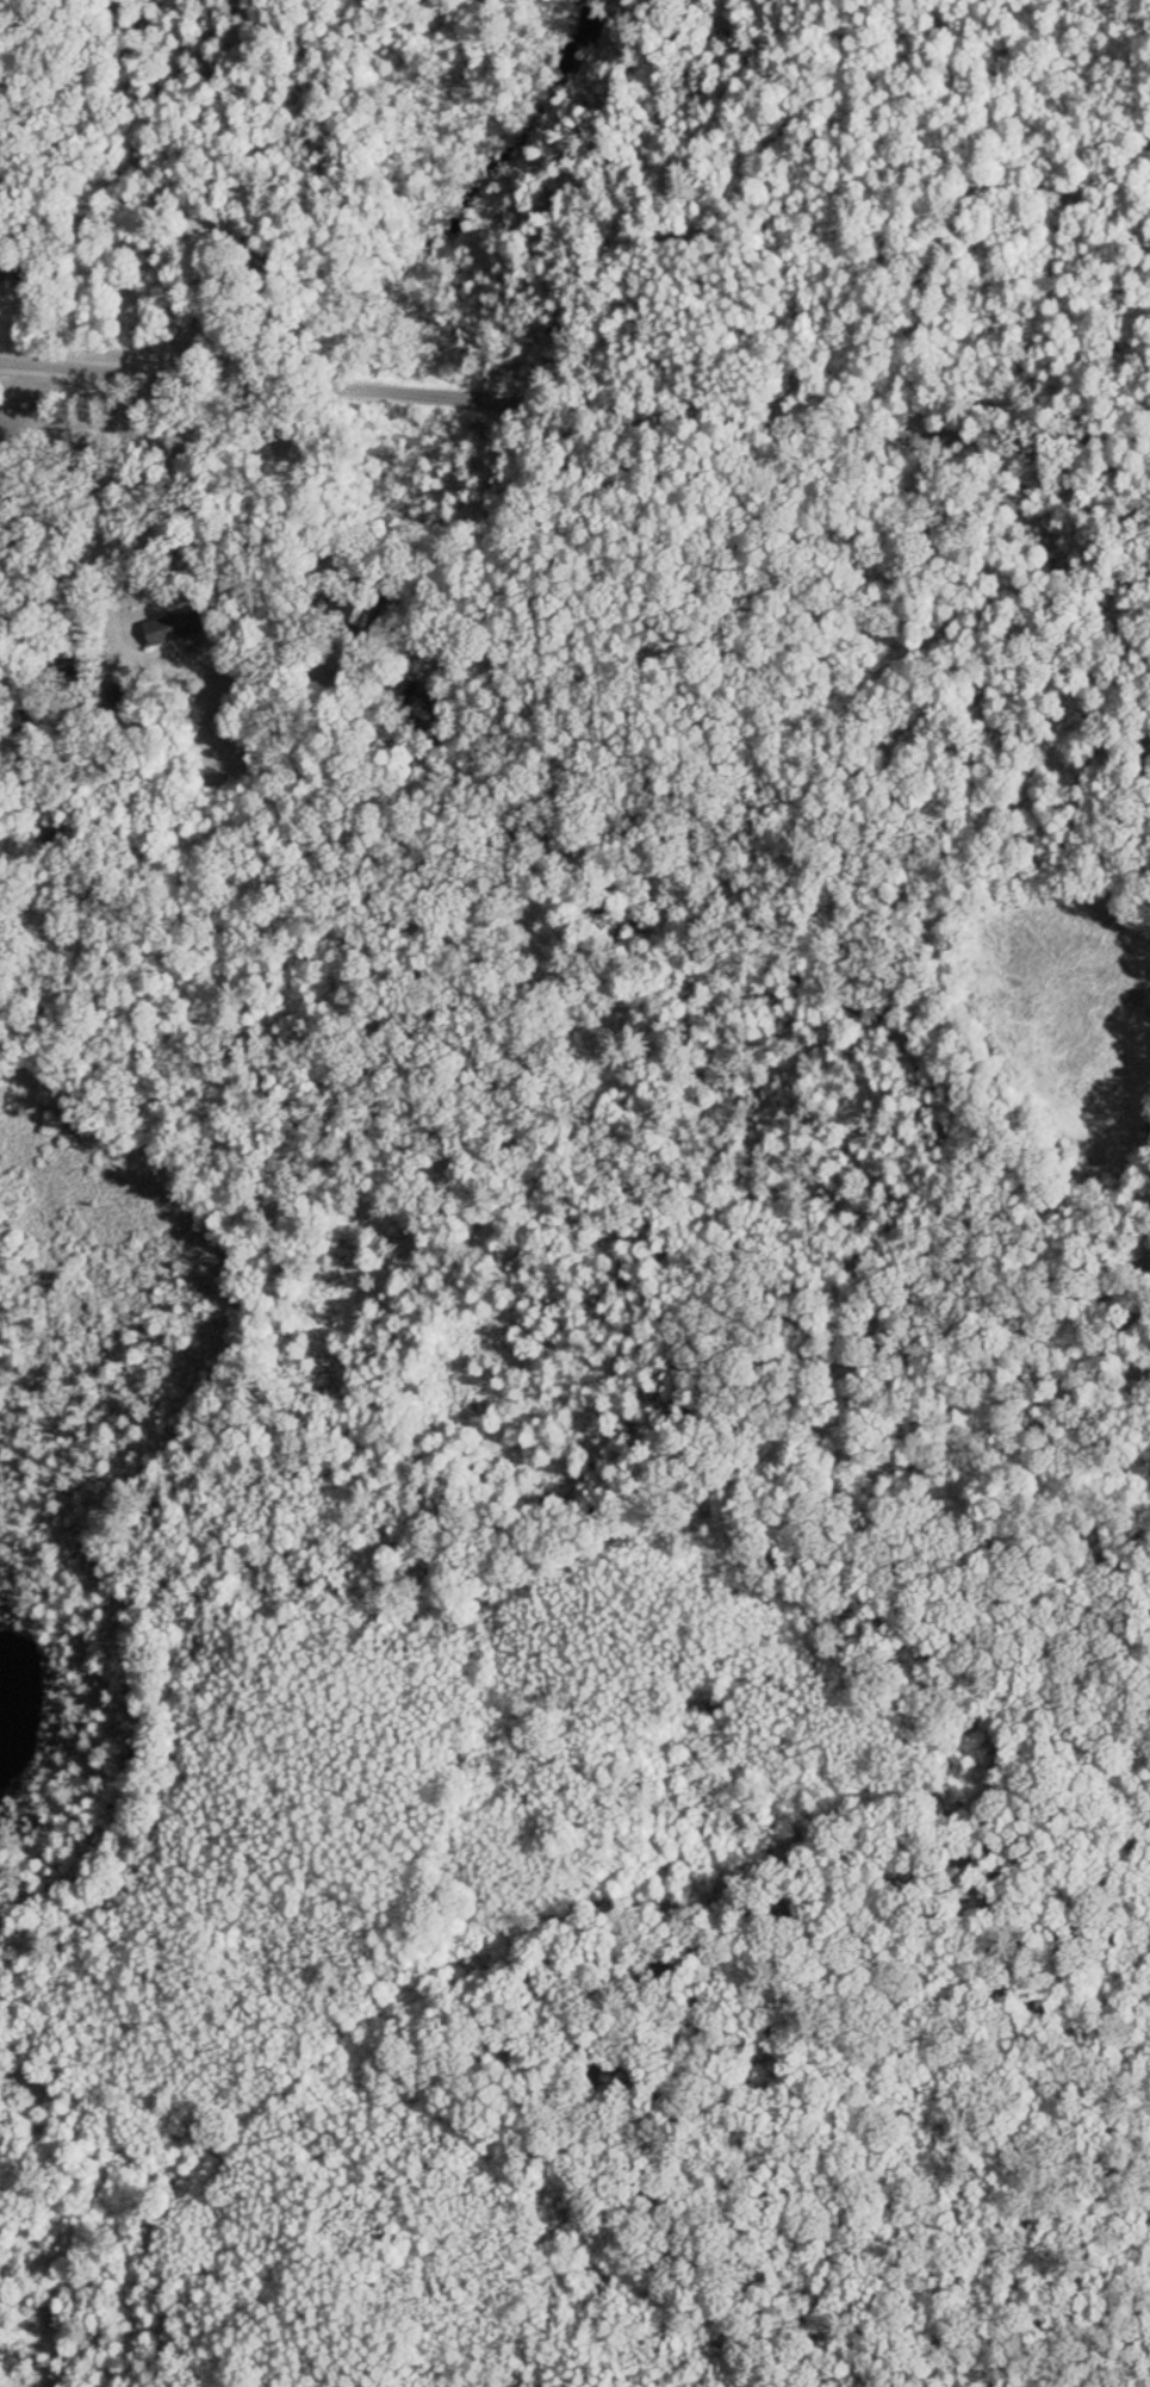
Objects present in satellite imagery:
building: (231, 272)
road: (574, 405)
building: (7, 765)

